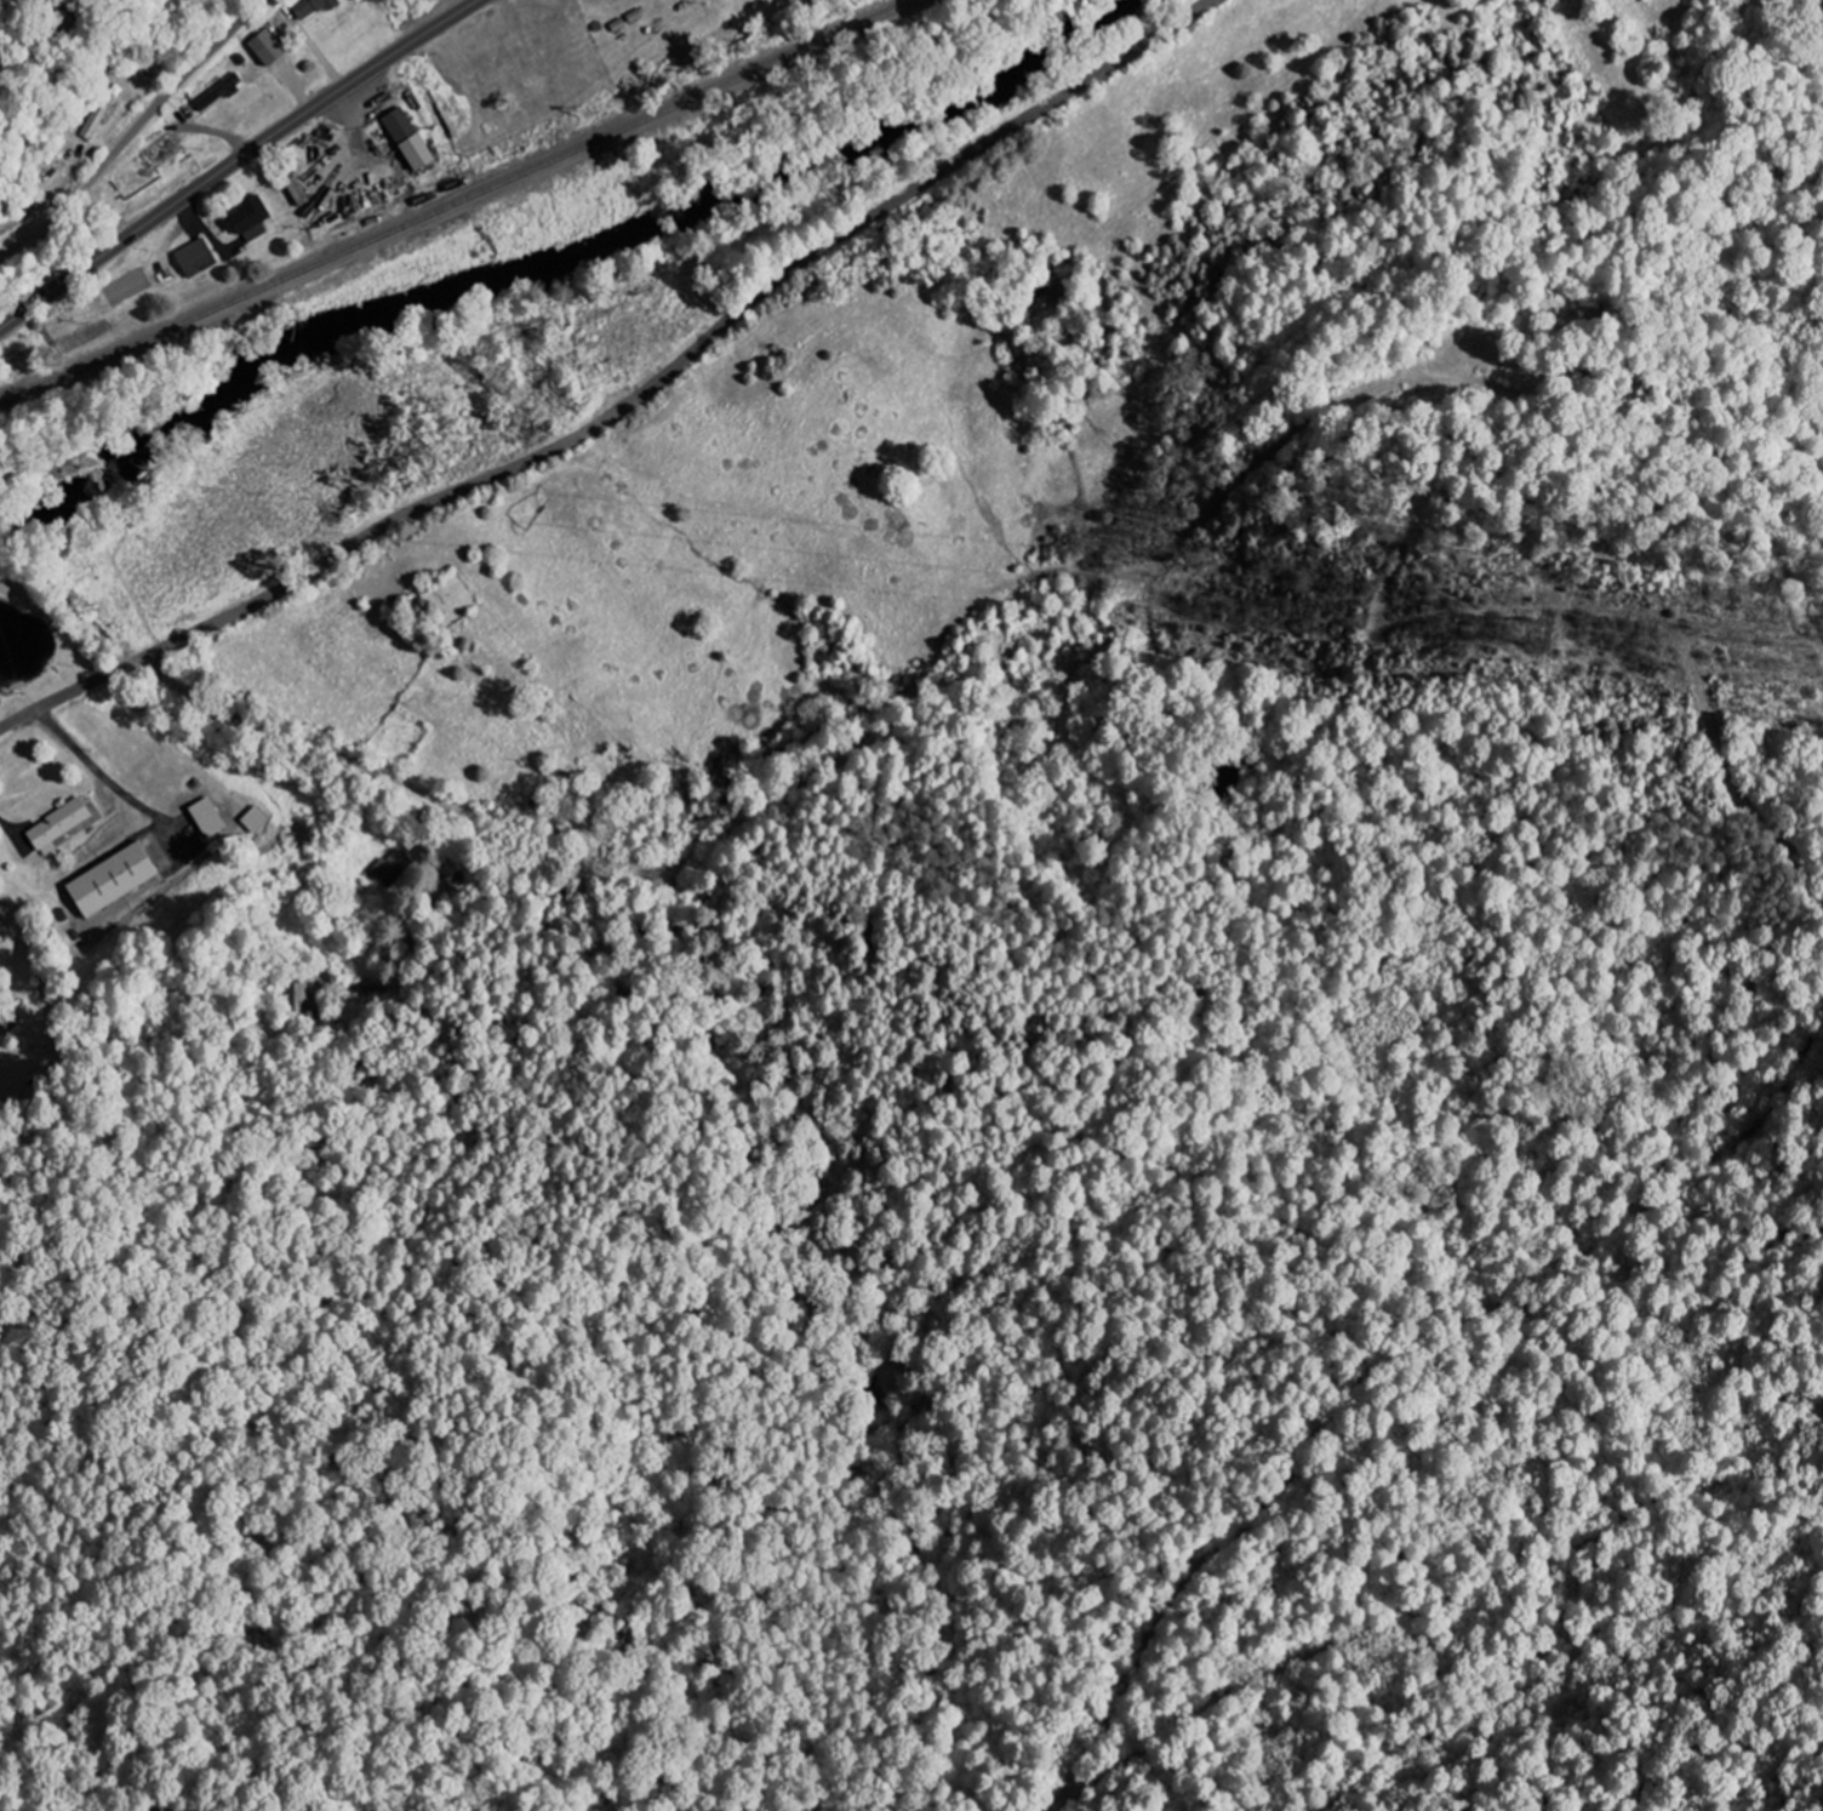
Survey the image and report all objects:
building: (312, 8)
building: (272, 48)
building: (224, 92)
road: (132, 130)
building: (415, 141)
road: (238, 160)
railway: (459, 202)
building: (255, 221)
building: (200, 258)
road: (628, 402)
power tower: (1537, 630)
road: (433, 701)
road: (372, 705)
building: (212, 817)
building: (259, 819)
building: (63, 824)
building: (393, 865)
building: (120, 879)
building: (297, 993)

